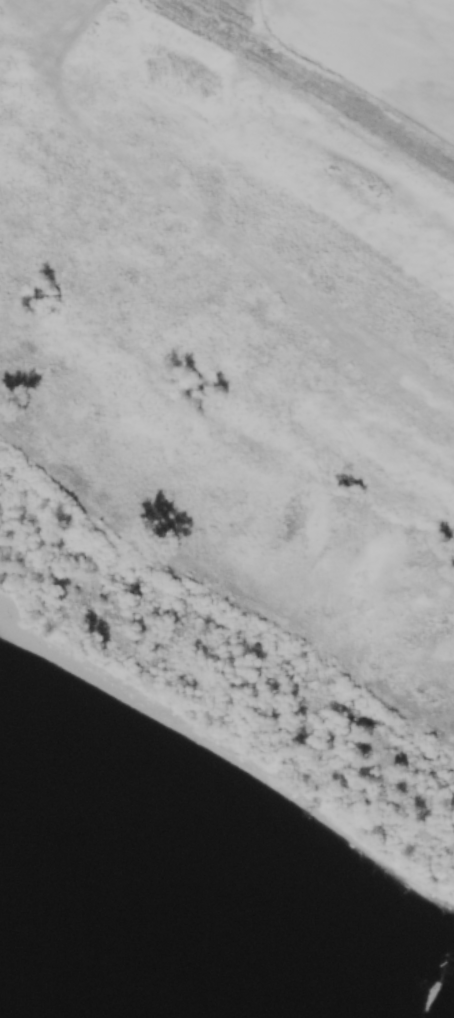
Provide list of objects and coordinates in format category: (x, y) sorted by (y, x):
river: (80, 958)

